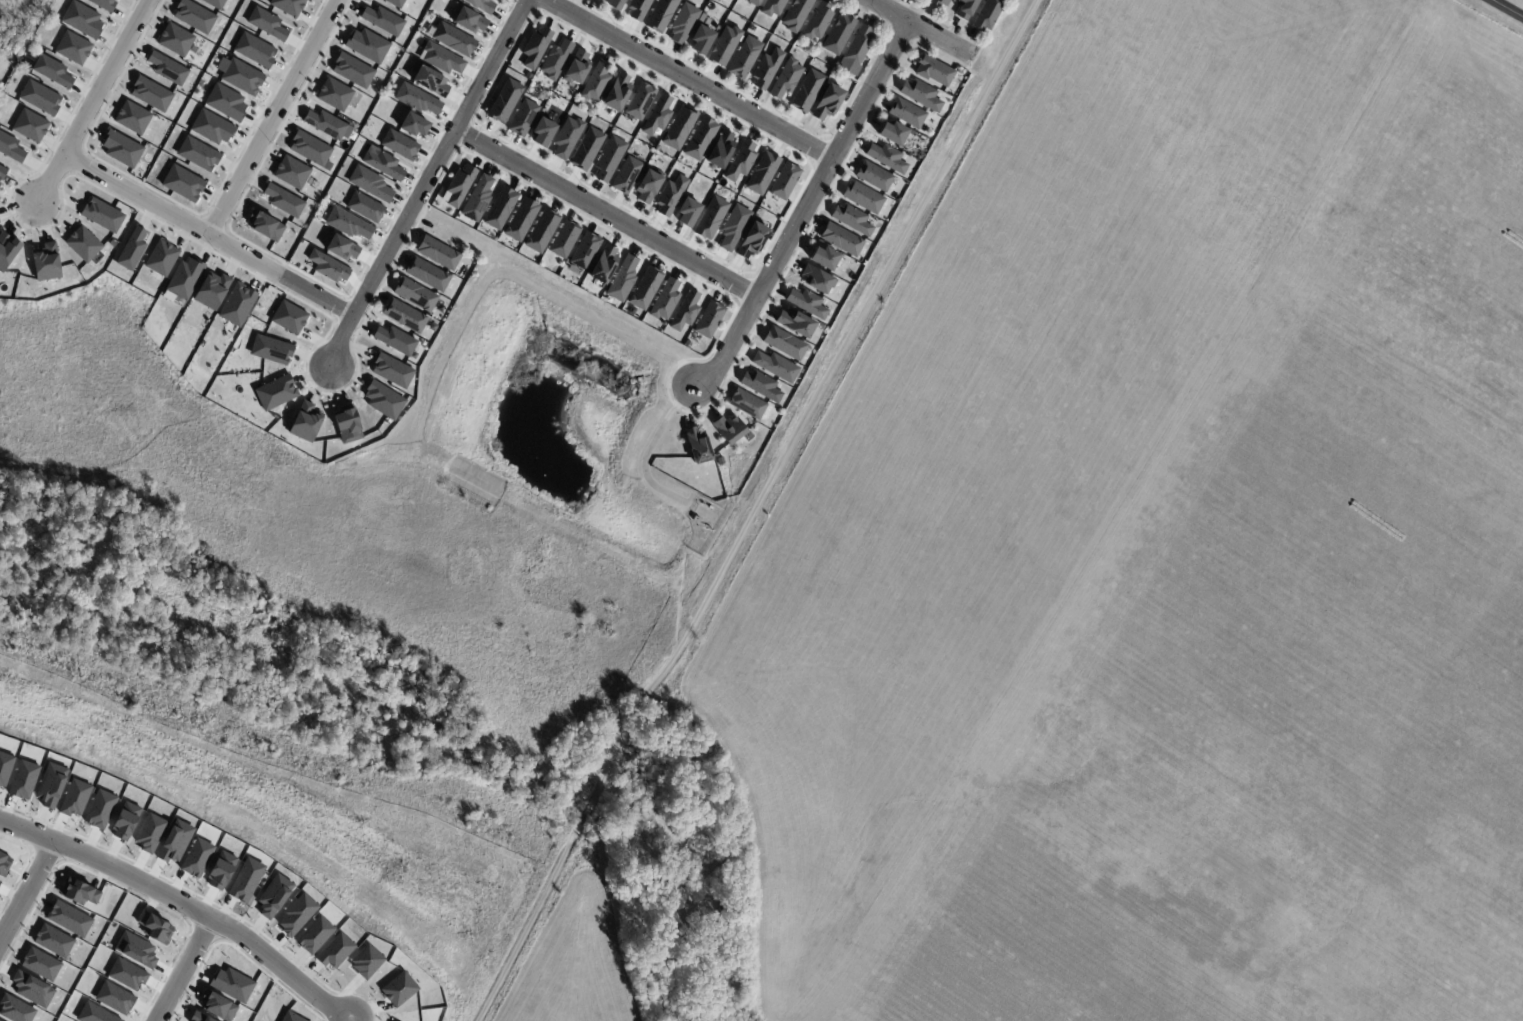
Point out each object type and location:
building: (753, 2)
building: (938, 2)
building: (214, 3)
building: (396, 3)
building: (104, 4)
building: (616, 4)
building: (481, 5)
building: (288, 6)
building: (773, 7)
road: (1510, 7)
building: (964, 8)
building: (637, 9)
building: (796, 14)
building: (660, 15)
building: (987, 15)
building: (194, 16)
building: (82, 19)
building: (382, 20)
building: (469, 20)
building: (818, 21)
building: (682, 23)
building: (267, 24)
road: (915, 29)
building: (838, 34)
building: (453, 39)
building: (701, 39)
building: (175, 40)
building: (367, 45)
building: (724, 45)
building: (535, 47)
building: (73, 48)
building: (255, 50)
building: (857, 50)
building: (744, 57)
building: (440, 59)
building: (555, 59)
building: (12, 61)
building: (576, 67)
building: (167, 68)
building: (766, 68)
building: (352, 70)
building: (933, 70)
building: (52, 71)
building: (240, 76)
building: (786, 78)
road: (685, 79)
building: (430, 81)
building: (595, 81)
building: (807, 91)
building: (617, 92)
building: (150, 94)
building: (337, 95)
building: (920, 95)
building: (40, 97)
building: (417, 99)
building: (639, 100)
road: (94, 101)
building: (504, 101)
building: (225, 102)
building: (827, 102)
building: (907, 113)
building: (657, 115)
building: (132, 117)
road: (273, 117)
building: (522, 117)
building: (325, 124)
building: (413, 124)
building: (30, 125)
building: (212, 127)
building: (679, 128)
building: (542, 132)
building: (910, 132)
building: (892, 133)
building: (566, 137)
building: (699, 138)
building: (400, 145)
building: (10, 148)
building: (310, 148)
building: (121, 149)
building: (586, 149)
building: (720, 149)
building: (198, 154)
building: (886, 157)
building: (608, 158)
building: (740, 161)
building: (382, 163)
building: (2, 172)
building: (291, 172)
building: (762, 173)
building: (626, 175)
building: (874, 176)
road: (425, 181)
building: (784, 181)
building: (182, 183)
building: (370, 183)
building: (648, 185)
building: (458, 186)
building: (669, 195)
building: (863, 197)
building: (477, 199)
building: (283, 200)
building: (364, 207)
building: (499, 208)
road: (802, 208)
building: (687, 211)
road: (604, 214)
building: (102, 215)
building: (710, 217)
building: (521, 219)
building: (852, 219)
building: (348, 223)
building: (265, 226)
building: (733, 227)
building: (541, 231)
road: (208, 235)
building: (564, 239)
building: (841, 239)
building: (751, 240)
building: (112, 243)
building: (83, 244)
building: (341, 247)
building: (7, 249)
building: (131, 250)
building: (585, 251)
building: (438, 253)
building: (824, 257)
building: (162, 258)
building: (46, 262)
building: (603, 265)
building: (328, 267)
building: (427, 274)
building: (184, 278)
building: (622, 279)
building: (817, 279)
building: (645, 288)
building: (212, 290)
building: (415, 294)
building: (664, 299)
building: (807, 303)
building: (237, 305)
building: (630, 310)
building: (684, 311)
building: (404, 316)
building: (288, 317)
building: (708, 319)
building: (795, 322)
building: (432, 327)
building: (395, 340)
building: (784, 343)
building: (686, 344)
building: (270, 350)
building: (776, 366)
building: (392, 370)
building: (760, 385)
building: (275, 392)
building: (383, 400)
building: (747, 404)
building: (305, 422)
building: (347, 424)
building: (728, 428)
building: (697, 444)
road: (756, 514)
building: (696, 519)
building: (4, 767)
building: (23, 779)
building: (51, 785)
building: (74, 797)
building: (100, 809)
building: (125, 821)
building: (149, 832)
building: (174, 841)
building: (197, 858)
building: (4, 864)
building: (220, 870)
building: (245, 880)
building: (78, 892)
road: (28, 893)
building: (273, 896)
road: (182, 903)
building: (297, 914)
building: (69, 919)
building: (154, 927)
building: (314, 934)
building: (53, 940)
building: (135, 949)
building: (334, 951)
crop: (574, 960)
building: (366, 961)
building: (40, 964)
road: (185, 970)
building: (127, 974)
building: (232, 984)
building: (31, 989)
building: (399, 989)
building: (114, 998)
building: (217, 1006)
building: (15, 1009)
building: (94, 1013)
building: (198, 1017)
building: (290, 1017)
building: (0, 1020)

